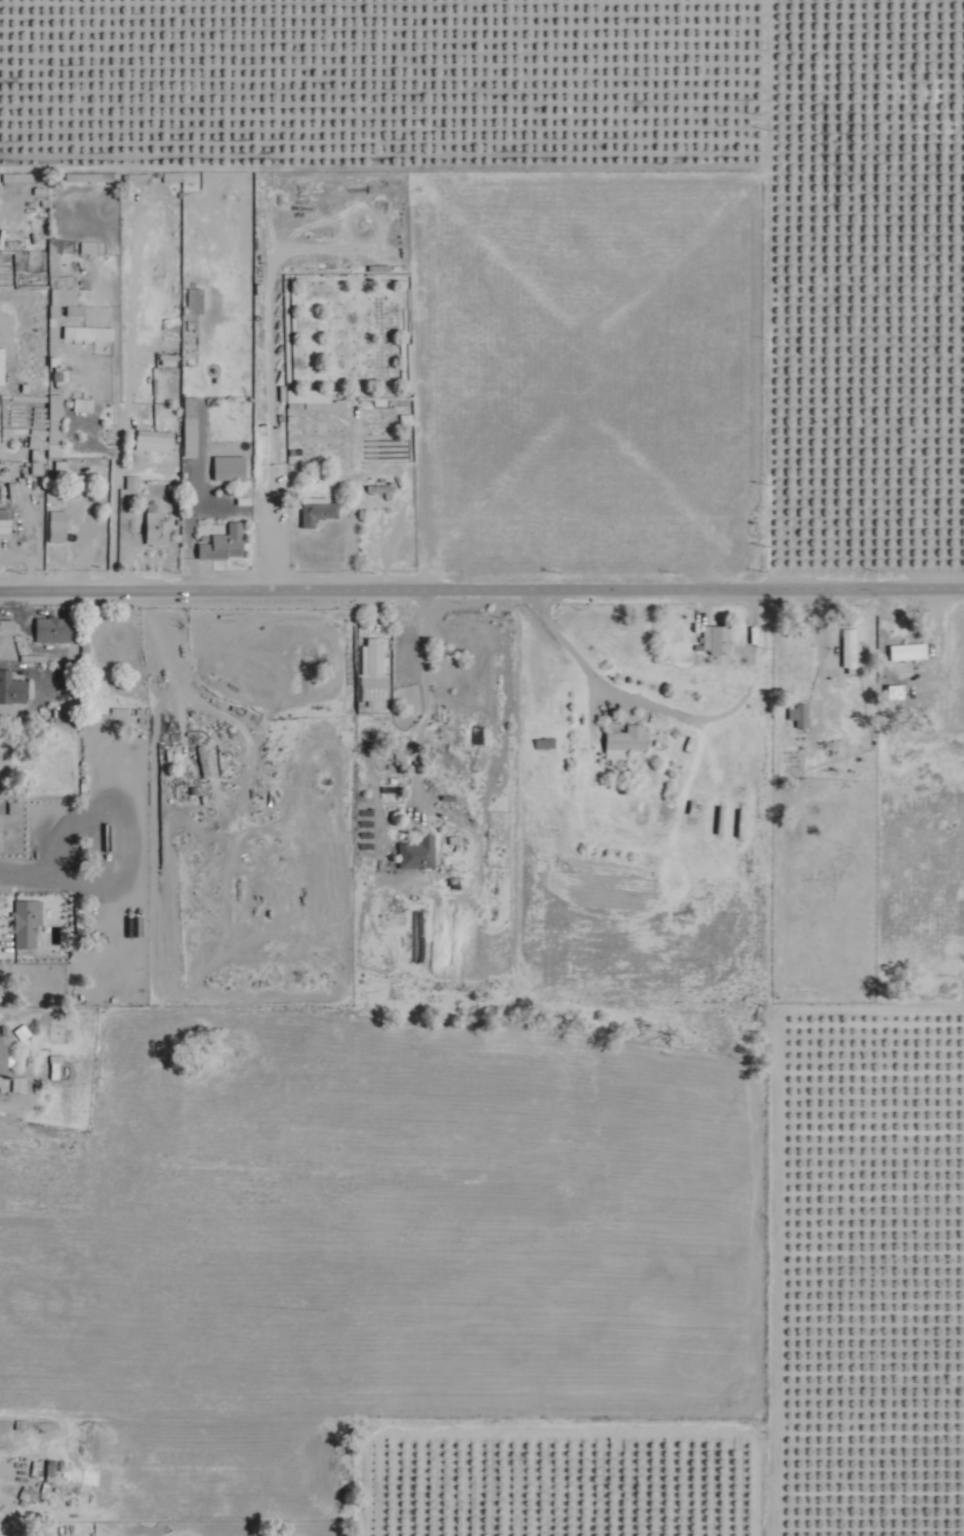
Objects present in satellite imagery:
crop: (599, 164)
road: (775, 289)
building: (66, 298)
building: (89, 331)
building: (3, 366)
building: (314, 394)
building: (84, 403)
building: (55, 416)
building: (191, 425)
building: (154, 439)
building: (231, 466)
building: (133, 480)
building: (318, 509)
building: (154, 518)
road: (276, 520)
building: (5, 522)
building: (58, 524)
building: (230, 539)
road: (481, 585)
building: (8, 624)
building: (54, 628)
building: (717, 637)
building: (908, 650)
building: (14, 690)
building: (895, 690)
road: (424, 697)
road: (672, 709)
building: (799, 713)
building: (627, 740)
building: (208, 763)
building: (418, 851)
building: (28, 920)
building: (6, 1051)
building: (20, 1082)
crop: (858, 1255)
road: (177, 1418)

